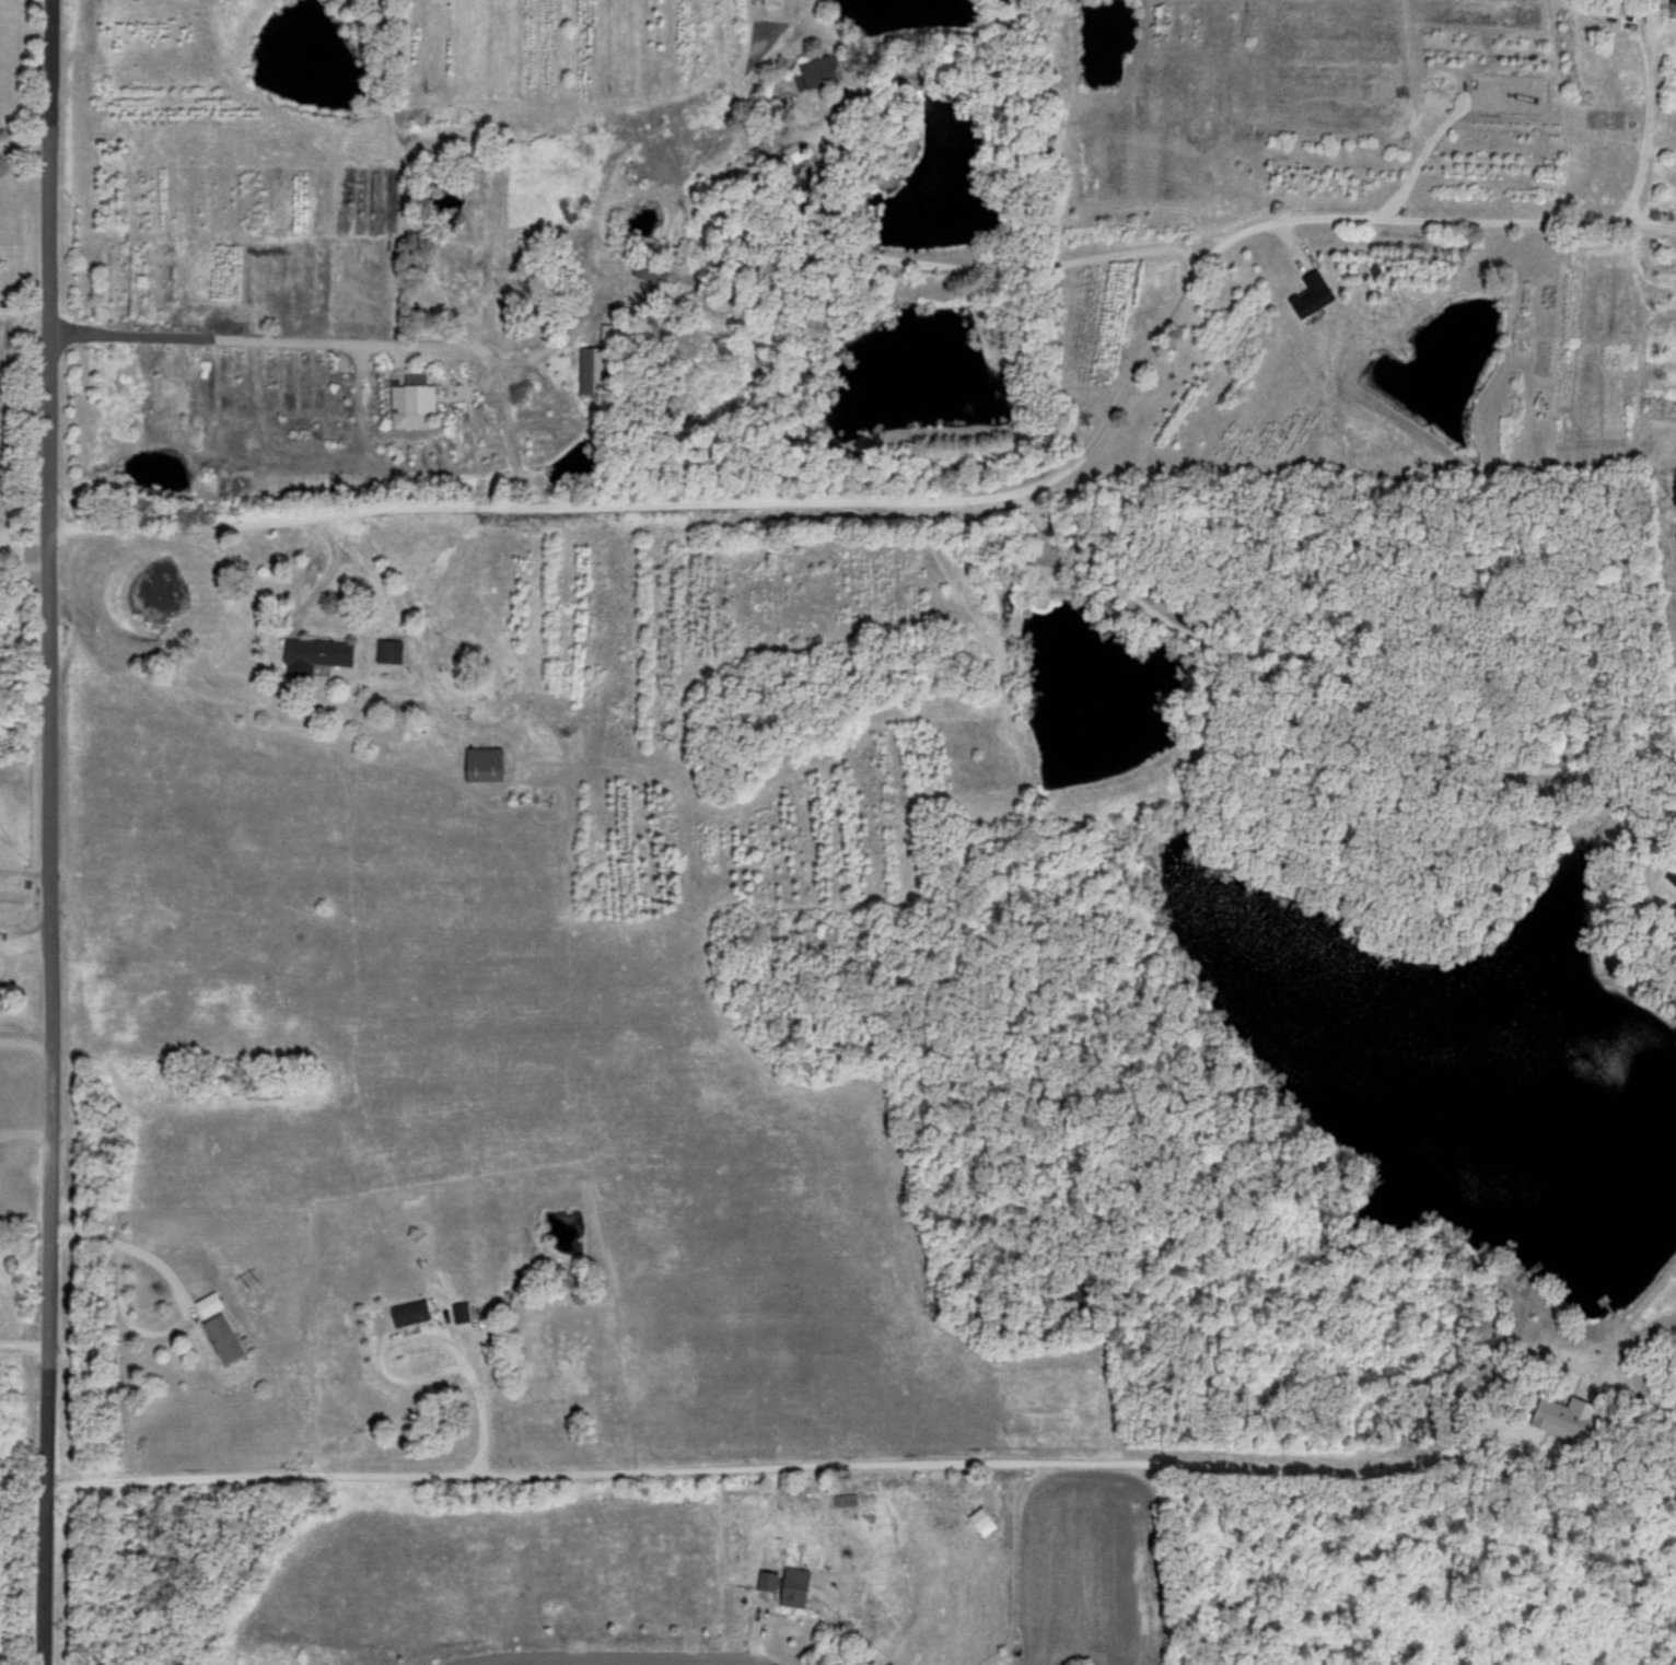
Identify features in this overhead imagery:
road: (1608, 16)
road: (1673, 22)
road: (767, 56)
building: (816, 71)
road: (1646, 115)
road: (898, 124)
road: (22, 143)
road: (825, 183)
building: (677, 233)
road: (982, 266)
building: (692, 283)
building: (444, 286)
road: (522, 351)
building: (600, 361)
building: (414, 397)
road: (519, 399)
road: (507, 424)
road: (928, 498)
road: (326, 574)
building: (389, 648)
building: (316, 652)
road: (1331, 718)
building: (484, 761)
road: (49, 832)
road: (24, 872)
building: (1674, 881)
road: (24, 938)
road: (24, 1040)
road: (24, 1130)
road: (117, 1284)
building: (414, 1311)
building: (220, 1325)
road: (21, 1344)
road: (472, 1396)
building: (1566, 1417)
road: (854, 1465)
road: (613, 1653)

